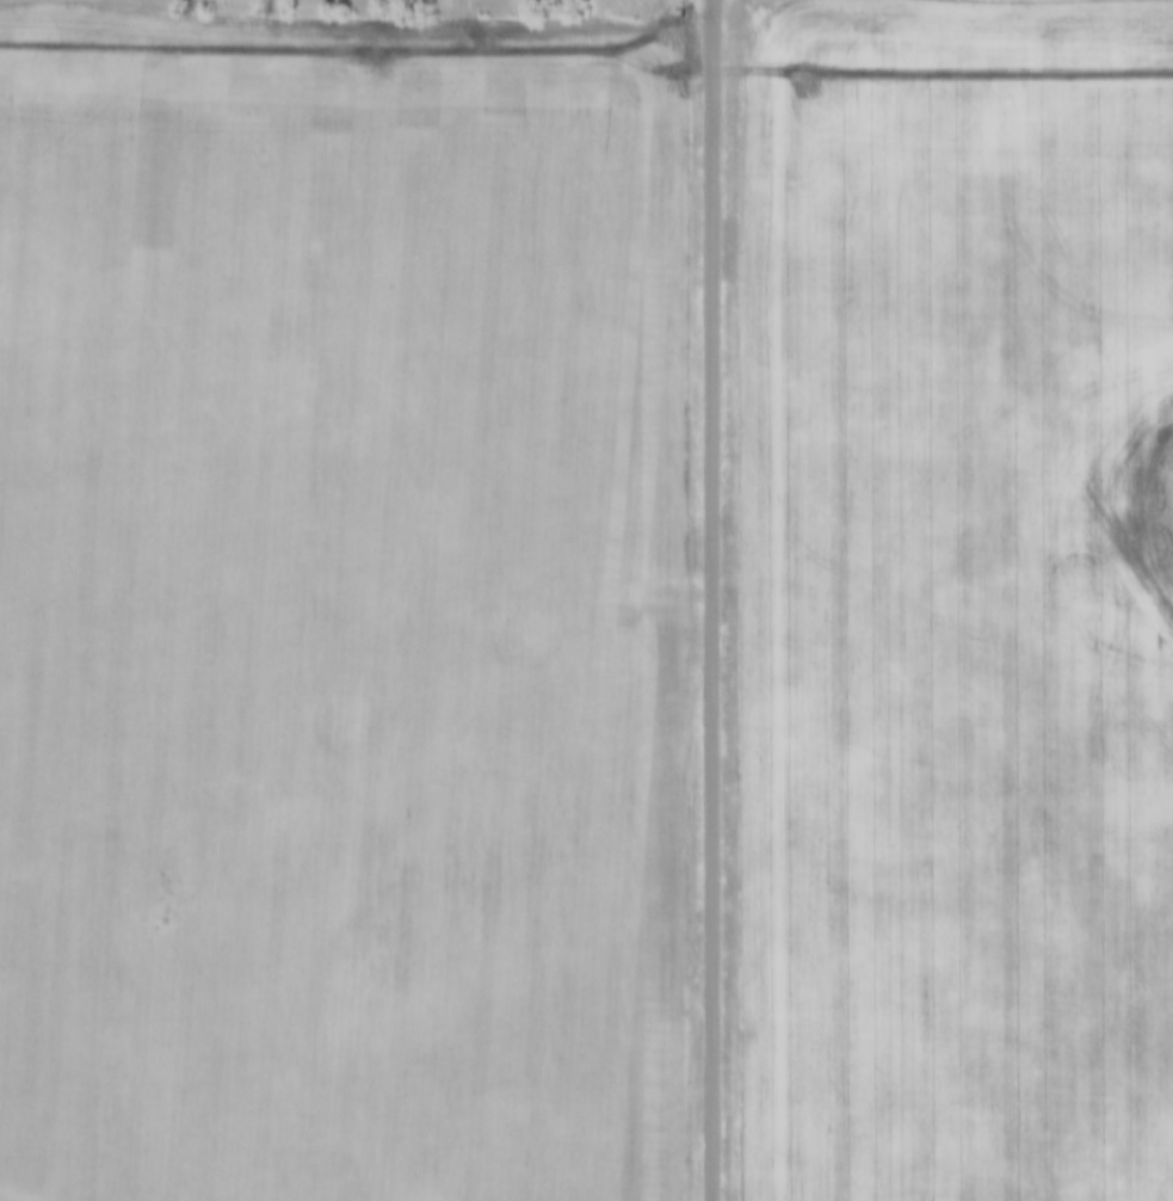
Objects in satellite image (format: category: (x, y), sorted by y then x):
road: (715, 599)

